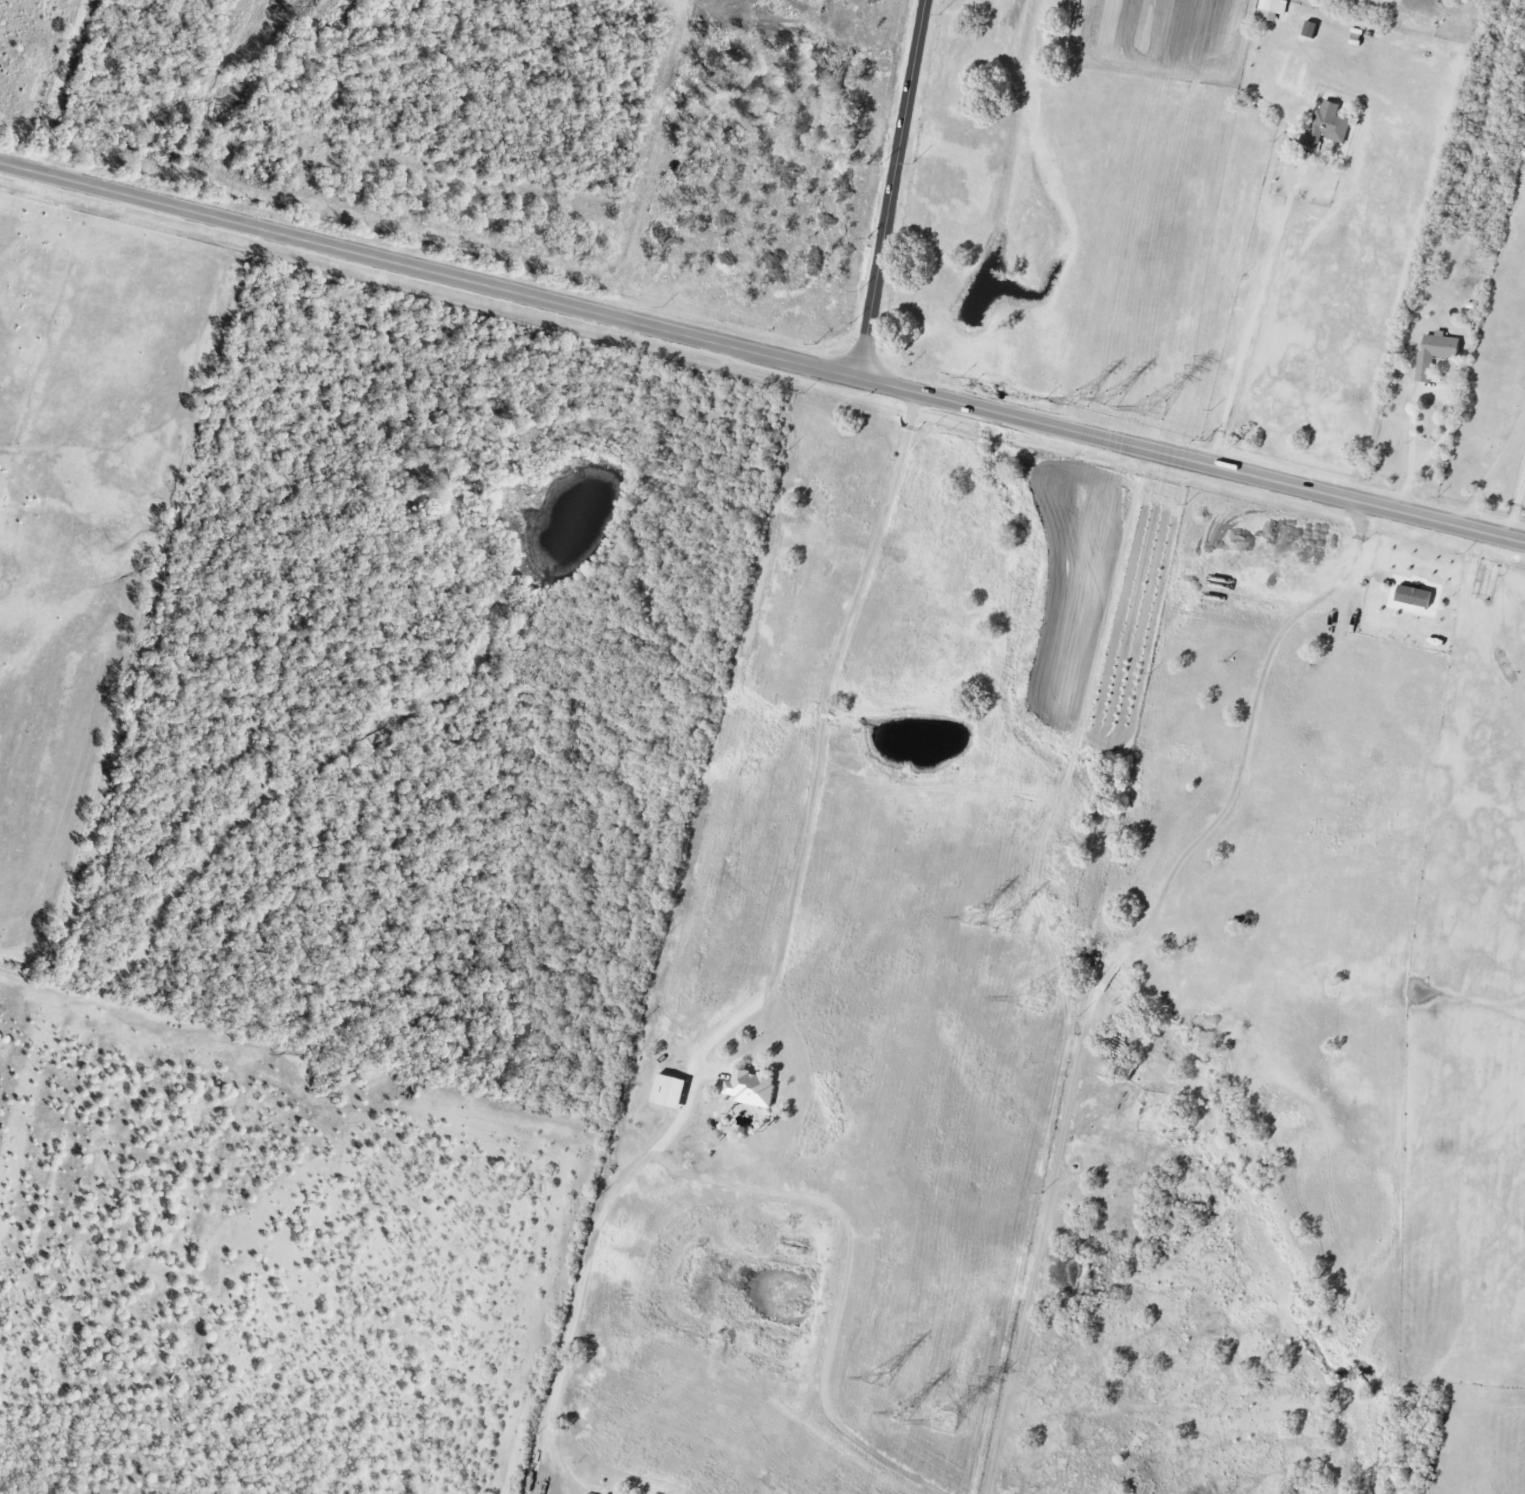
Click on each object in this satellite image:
building: (1272, 9)
building: (1311, 30)
building: (1327, 127)
building: (1291, 148)
road: (894, 190)
road: (1249, 328)
building: (1436, 354)
road: (762, 355)
power tower: (1082, 400)
power tower: (1114, 401)
power tower: (1155, 410)
road: (1447, 414)
road: (1494, 467)
road: (1515, 502)
road: (872, 551)
road: (823, 714)
power tower: (975, 918)
power tower: (1005, 924)
road: (1113, 967)
power tower: (1033, 1004)
building: (753, 1089)
building: (671, 1092)
road: (689, 1104)
power tower: (880, 1379)
power tower: (902, 1413)
power tower: (946, 1422)

